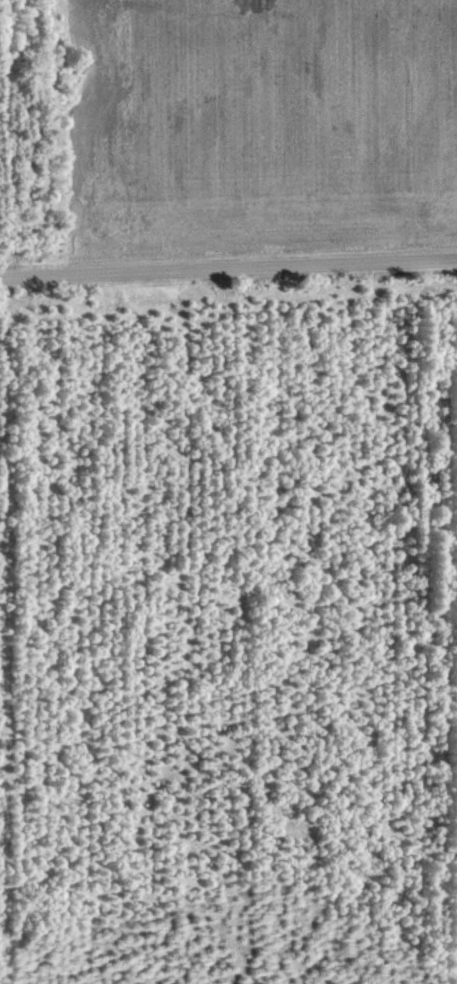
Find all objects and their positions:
road: (228, 268)

